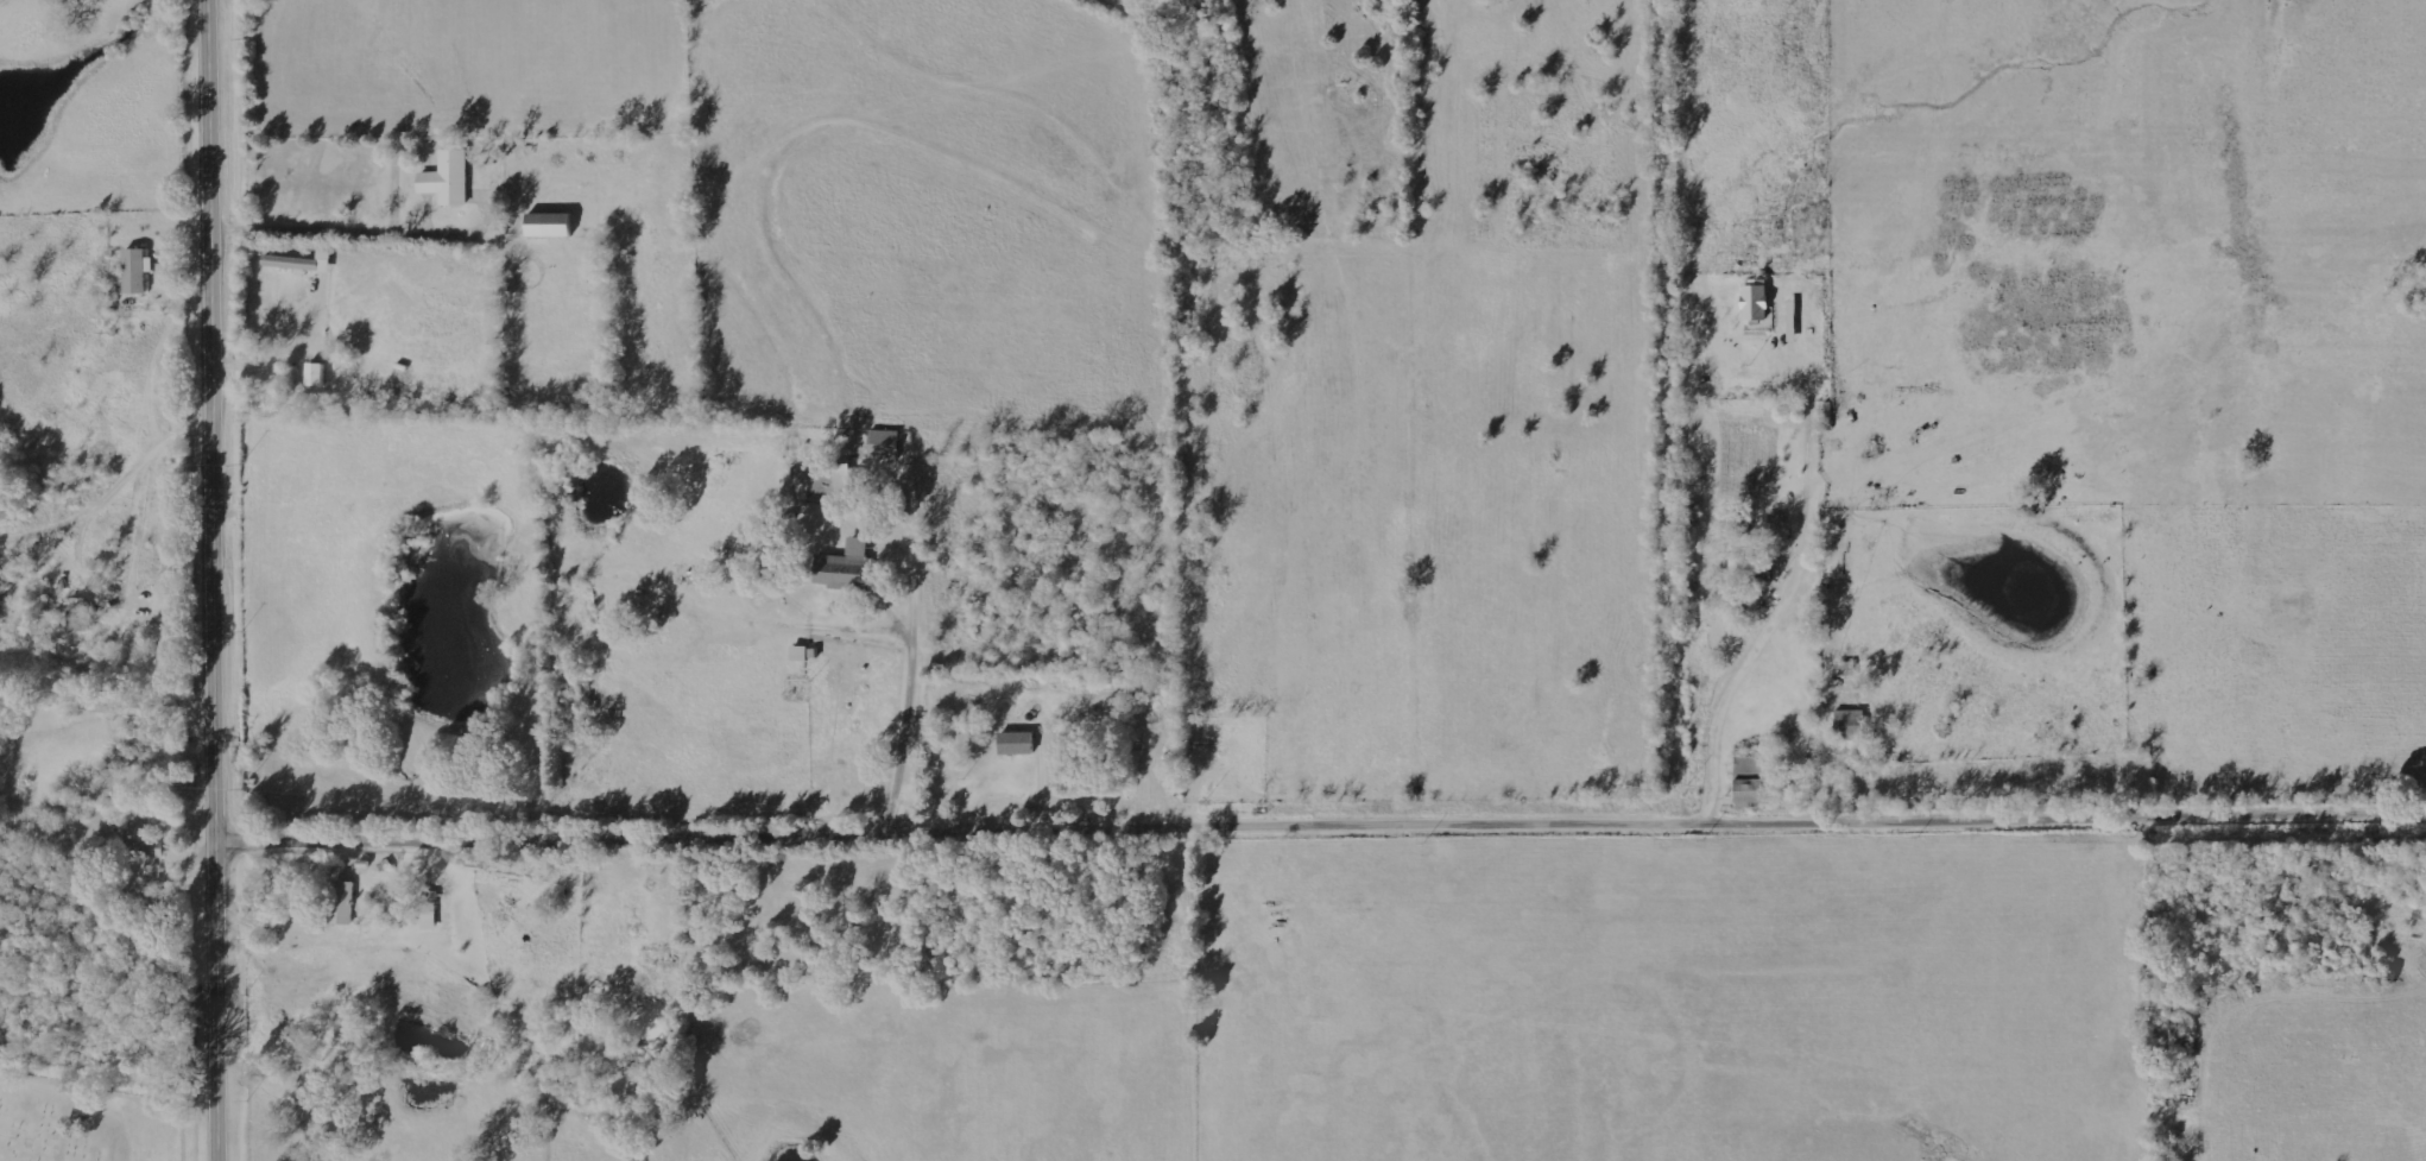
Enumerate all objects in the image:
building: (450, 179)
building: (554, 226)
building: (302, 264)
building: (139, 271)
building: (1794, 322)
building: (318, 376)
road: (1660, 414)
road: (115, 490)
building: (847, 568)
road: (216, 580)
building: (81, 617)
building: (1851, 725)
building: (1019, 743)
road: (1700, 827)
road: (945, 835)
building: (143, 837)
building: (345, 903)
building: (431, 916)

